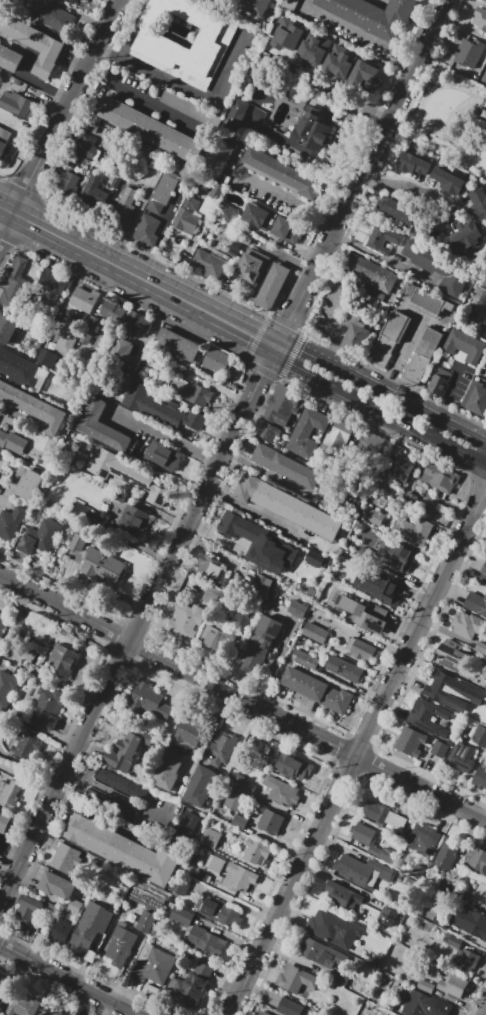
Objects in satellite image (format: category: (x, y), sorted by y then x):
building: (69, 1)
building: (255, 6)
building: (373, 14)
building: (53, 15)
building: (480, 18)
road: (358, 30)
building: (287, 35)
building: (154, 41)
building: (34, 44)
building: (314, 48)
building: (469, 52)
building: (485, 57)
building: (9, 58)
building: (339, 61)
building: (366, 75)
road: (485, 79)
road: (186, 86)
road: (448, 86)
road: (334, 90)
road: (140, 97)
building: (16, 104)
building: (186, 107)
building: (236, 113)
road: (450, 116)
road: (58, 117)
road: (419, 119)
park: (449, 121)
building: (93, 122)
road: (249, 122)
building: (90, 127)
building: (148, 128)
building: (311, 129)
road: (429, 133)
building: (4, 141)
building: (85, 145)
road: (304, 150)
building: (218, 157)
building: (411, 163)
building: (282, 173)
building: (68, 182)
building: (449, 182)
road: (406, 186)
building: (163, 191)
building: (217, 191)
road: (285, 196)
building: (91, 197)
building: (478, 202)
building: (124, 209)
building: (225, 210)
building: (397, 211)
building: (187, 216)
building: (258, 216)
building: (287, 229)
building: (147, 230)
building: (468, 237)
building: (383, 238)
road: (276, 240)
building: (236, 247)
road: (380, 257)
road: (284, 258)
building: (209, 263)
building: (252, 266)
building: (439, 266)
building: (372, 272)
road: (137, 277)
building: (55, 283)
building: (14, 284)
building: (272, 285)
building: (485, 287)
building: (485, 289)
building: (83, 300)
building: (426, 300)
building: (112, 309)
traffic signals: (289, 320)
building: (139, 322)
building: (8, 331)
building: (69, 334)
traffic signals: (253, 335)
building: (355, 336)
building: (387, 339)
building: (177, 344)
building: (465, 346)
traffic signals: (300, 350)
building: (125, 353)
building: (422, 356)
building: (46, 358)
building: (217, 360)
building: (8, 362)
traffic signals: (261, 374)
building: (484, 374)
building: (439, 383)
building: (278, 385)
road: (381, 391)
building: (198, 394)
building: (475, 398)
building: (281, 406)
building: (34, 407)
building: (160, 408)
road: (377, 408)
building: (104, 427)
building: (268, 432)
building: (307, 432)
building: (340, 434)
road: (165, 438)
building: (12, 442)
building: (369, 446)
road: (223, 450)
building: (163, 458)
building: (401, 465)
building: (290, 468)
road: (266, 473)
building: (128, 476)
building: (439, 478)
building: (30, 484)
road: (11, 485)
building: (246, 487)
road: (252, 509)
building: (79, 511)
building: (298, 511)
building: (373, 516)
building: (132, 520)
building: (11, 523)
building: (411, 531)
building: (243, 538)
building: (39, 539)
building: (76, 544)
building: (395, 555)
building: (103, 567)
building: (209, 567)
building: (484, 568)
building: (261, 583)
building: (386, 588)
building: (476, 604)
building: (296, 608)
building: (366, 617)
building: (2, 620)
building: (186, 621)
building: (468, 626)
building: (315, 633)
building: (208, 637)
building: (260, 643)
building: (480, 648)
building: (364, 650)
building: (306, 659)
building: (452, 660)
building: (63, 661)
building: (346, 670)
building: (450, 687)
building: (6, 688)
building: (485, 688)
building: (318, 690)
road: (243, 698)
building: (48, 707)
building: (150, 707)
building: (475, 715)
building: (428, 716)
building: (3, 721)
building: (191, 731)
building: (479, 736)
building: (410, 741)
building: (26, 747)
building: (439, 748)
building: (221, 749)
road: (357, 750)
building: (273, 751)
building: (127, 753)
building: (461, 757)
building: (299, 767)
building: (169, 770)
building: (480, 776)
road: (26, 780)
building: (234, 781)
building: (120, 783)
building: (200, 787)
building: (281, 791)
building: (5, 792)
road: (115, 794)
building: (231, 800)
building: (384, 815)
building: (3, 820)
building: (239, 822)
building: (270, 822)
building: (185, 828)
building: (210, 838)
building: (423, 841)
building: (370, 842)
building: (223, 845)
building: (125, 850)
building: (257, 852)
building: (446, 855)
building: (66, 860)
building: (477, 860)
building: (215, 863)
building: (361, 870)
building: (484, 870)
building: (418, 871)
building: (239, 877)
building: (399, 879)
building: (445, 883)
building: (57, 885)
building: (179, 888)
building: (480, 896)
building: (343, 897)
building: (75, 906)
building: (29, 910)
building: (50, 910)
building: (221, 913)
building: (181, 915)
building: (387, 916)
building: (439, 921)
building: (470, 921)
building: (146, 922)
building: (332, 928)
building: (90, 931)
building: (60, 933)
building: (205, 940)
building: (454, 944)
building: (120, 946)
building: (323, 952)
building: (377, 960)
building: (465, 962)
building: (153, 965)
building: (339, 978)
road: (69, 979)
building: (295, 981)
building: (2, 983)
building: (452, 984)
building: (196, 985)
building: (425, 986)
building: (0, 1002)
building: (22, 1005)
building: (426, 1005)
building: (1, 1006)
building: (289, 1008)
building: (52, 1012)
building: (262, 1013)
road: (485, 1014)

